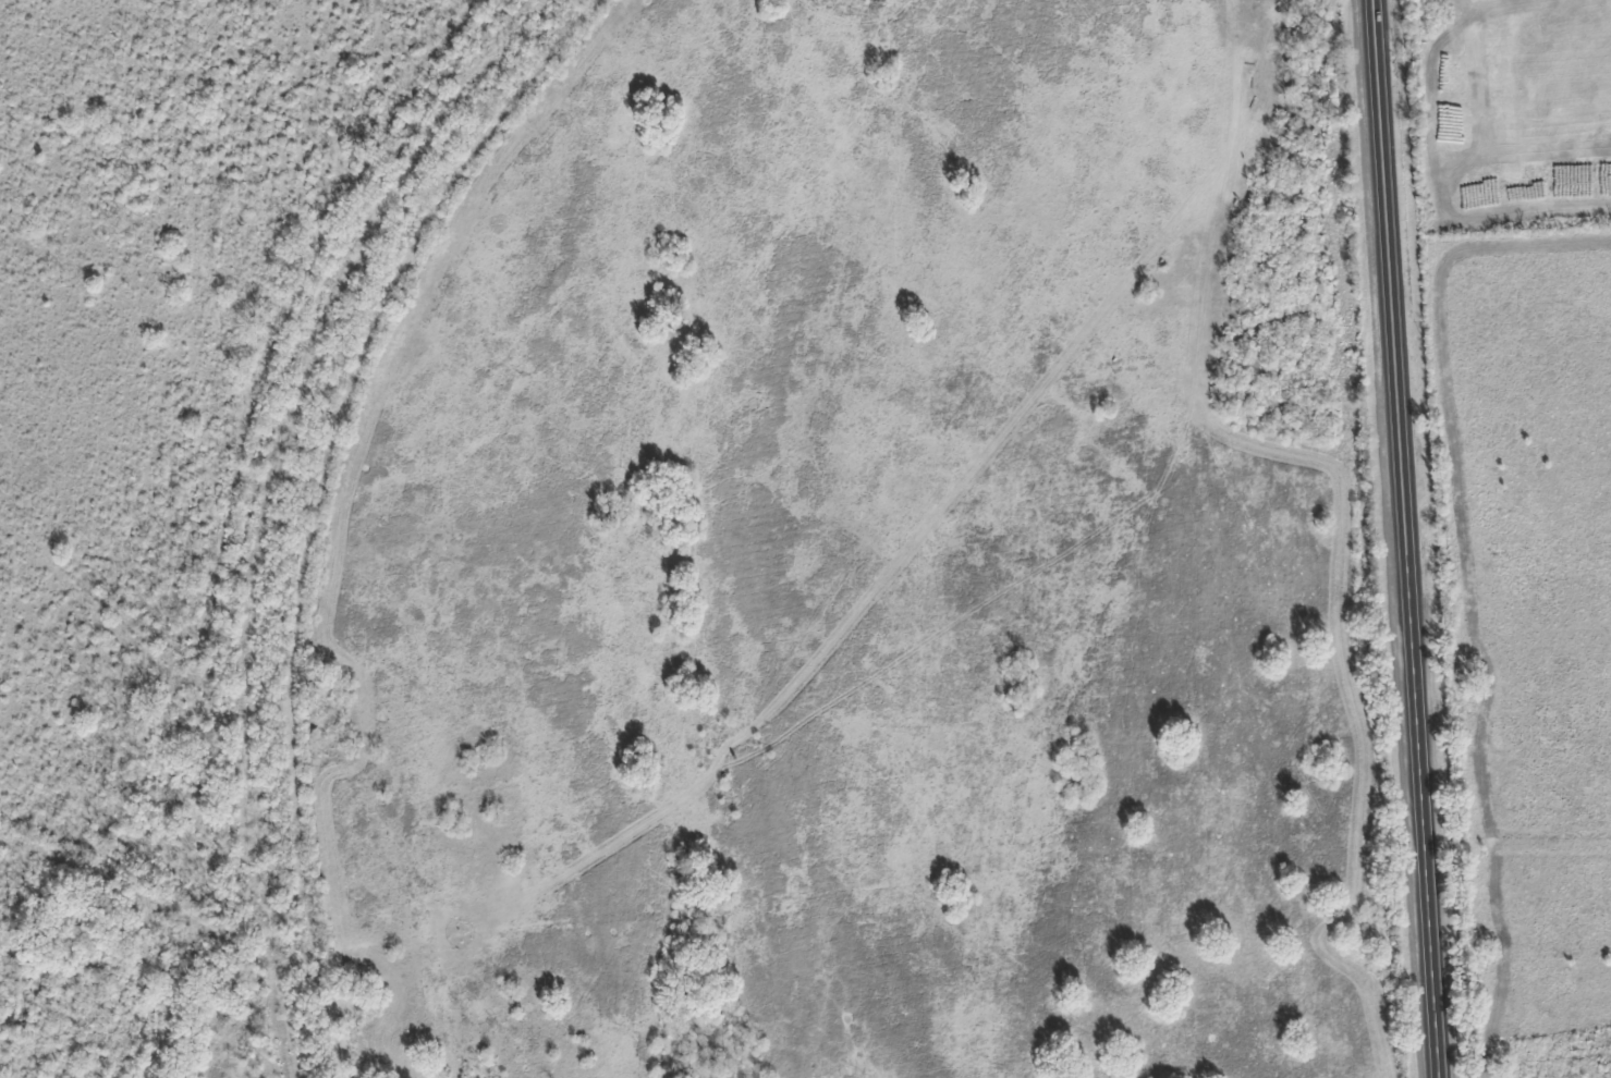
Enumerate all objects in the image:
road: (315, 501)
road: (1406, 539)
road: (157, 898)

